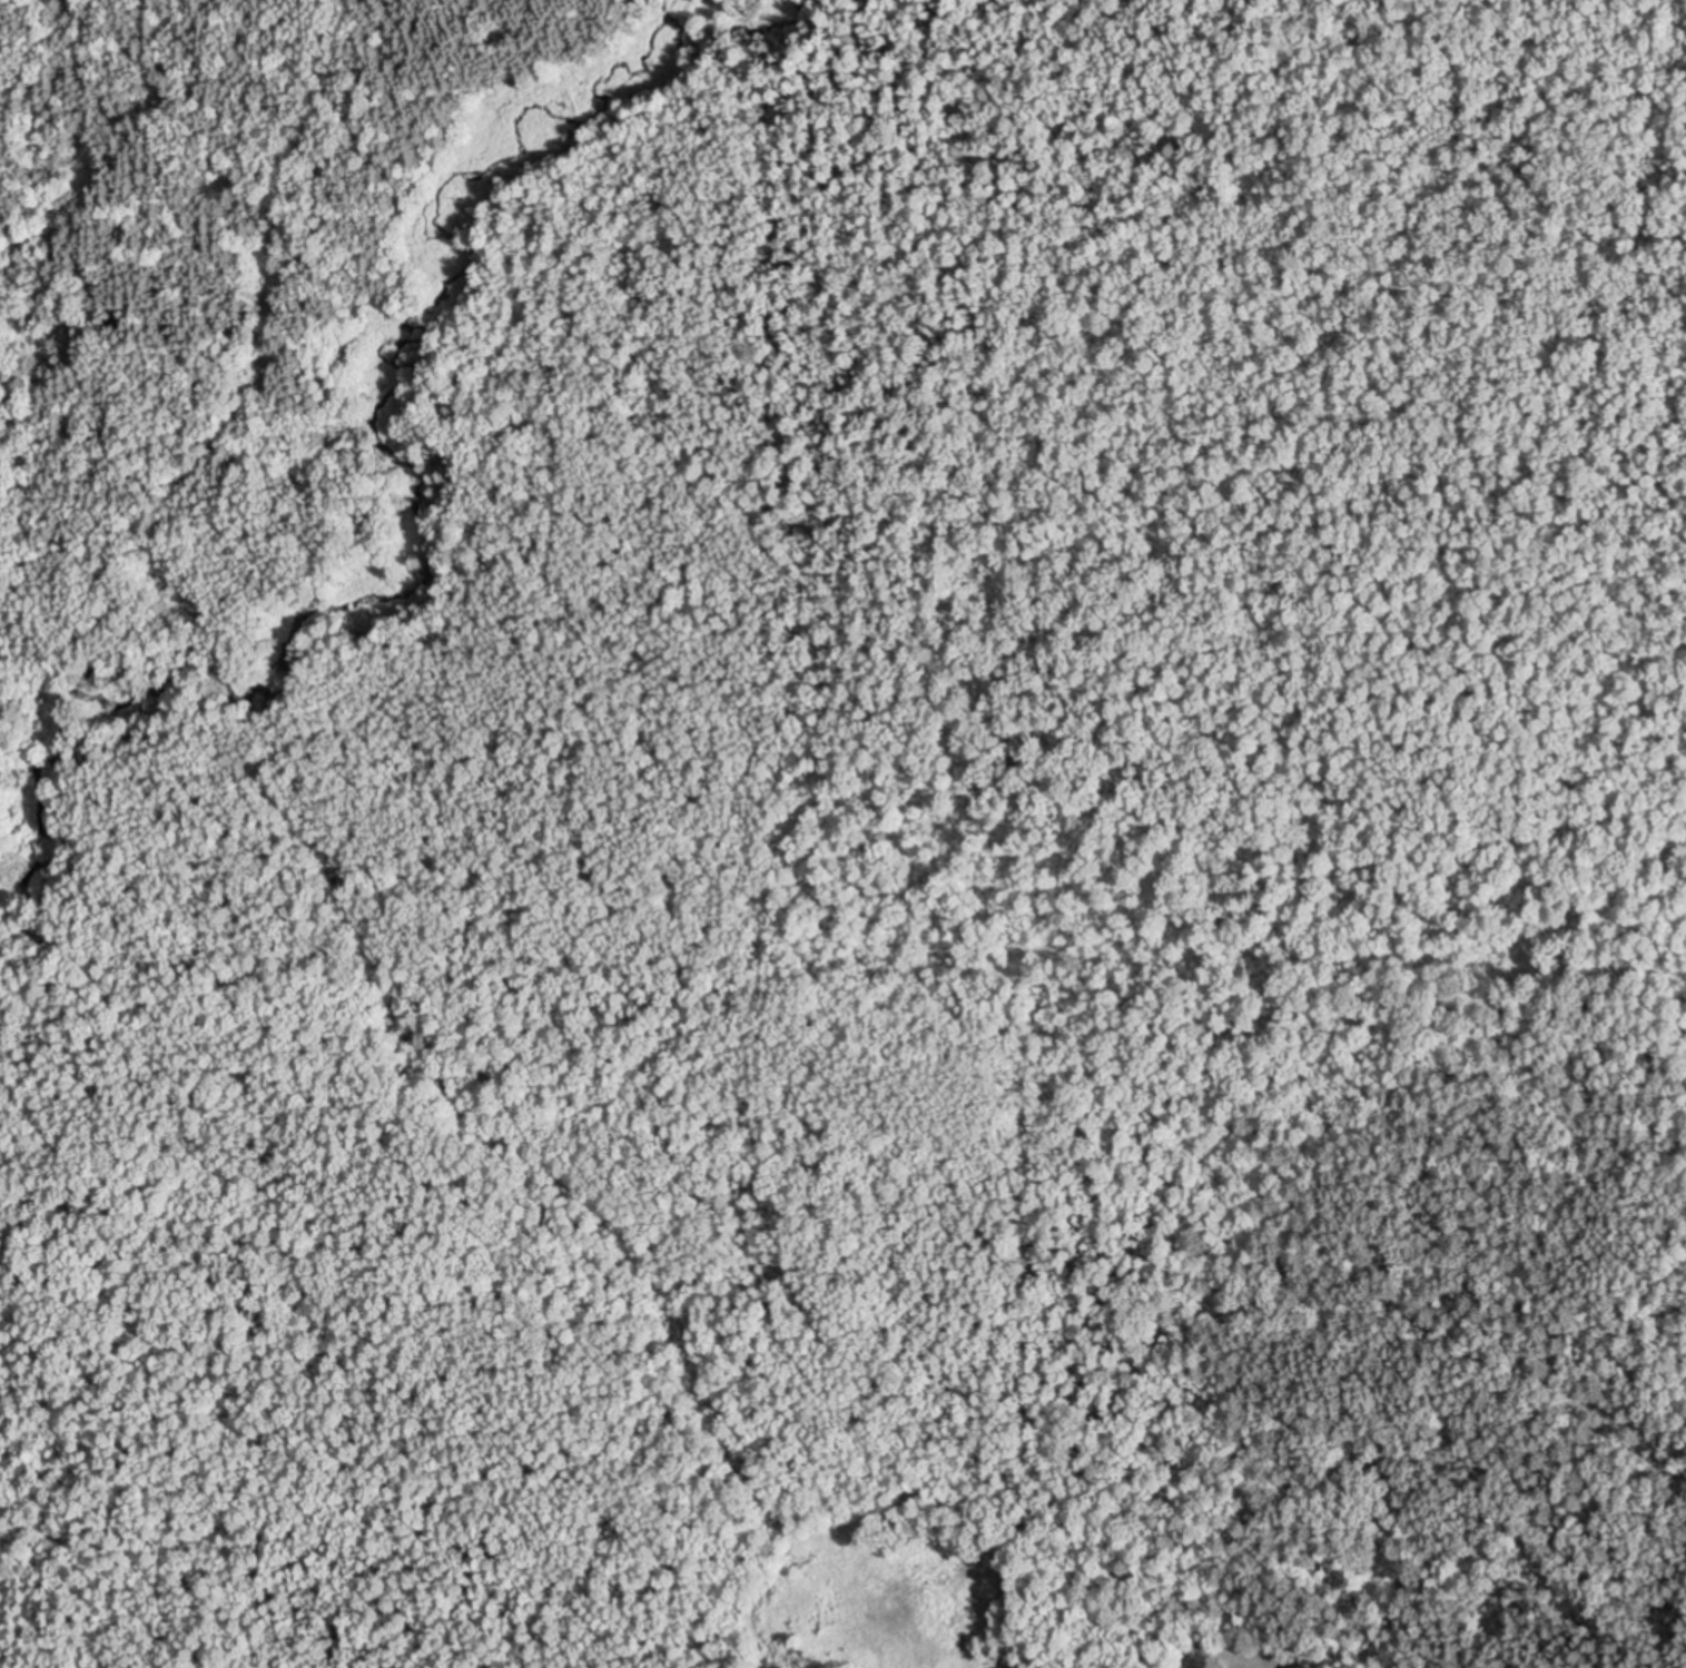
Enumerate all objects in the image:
road: (935, 1659)

